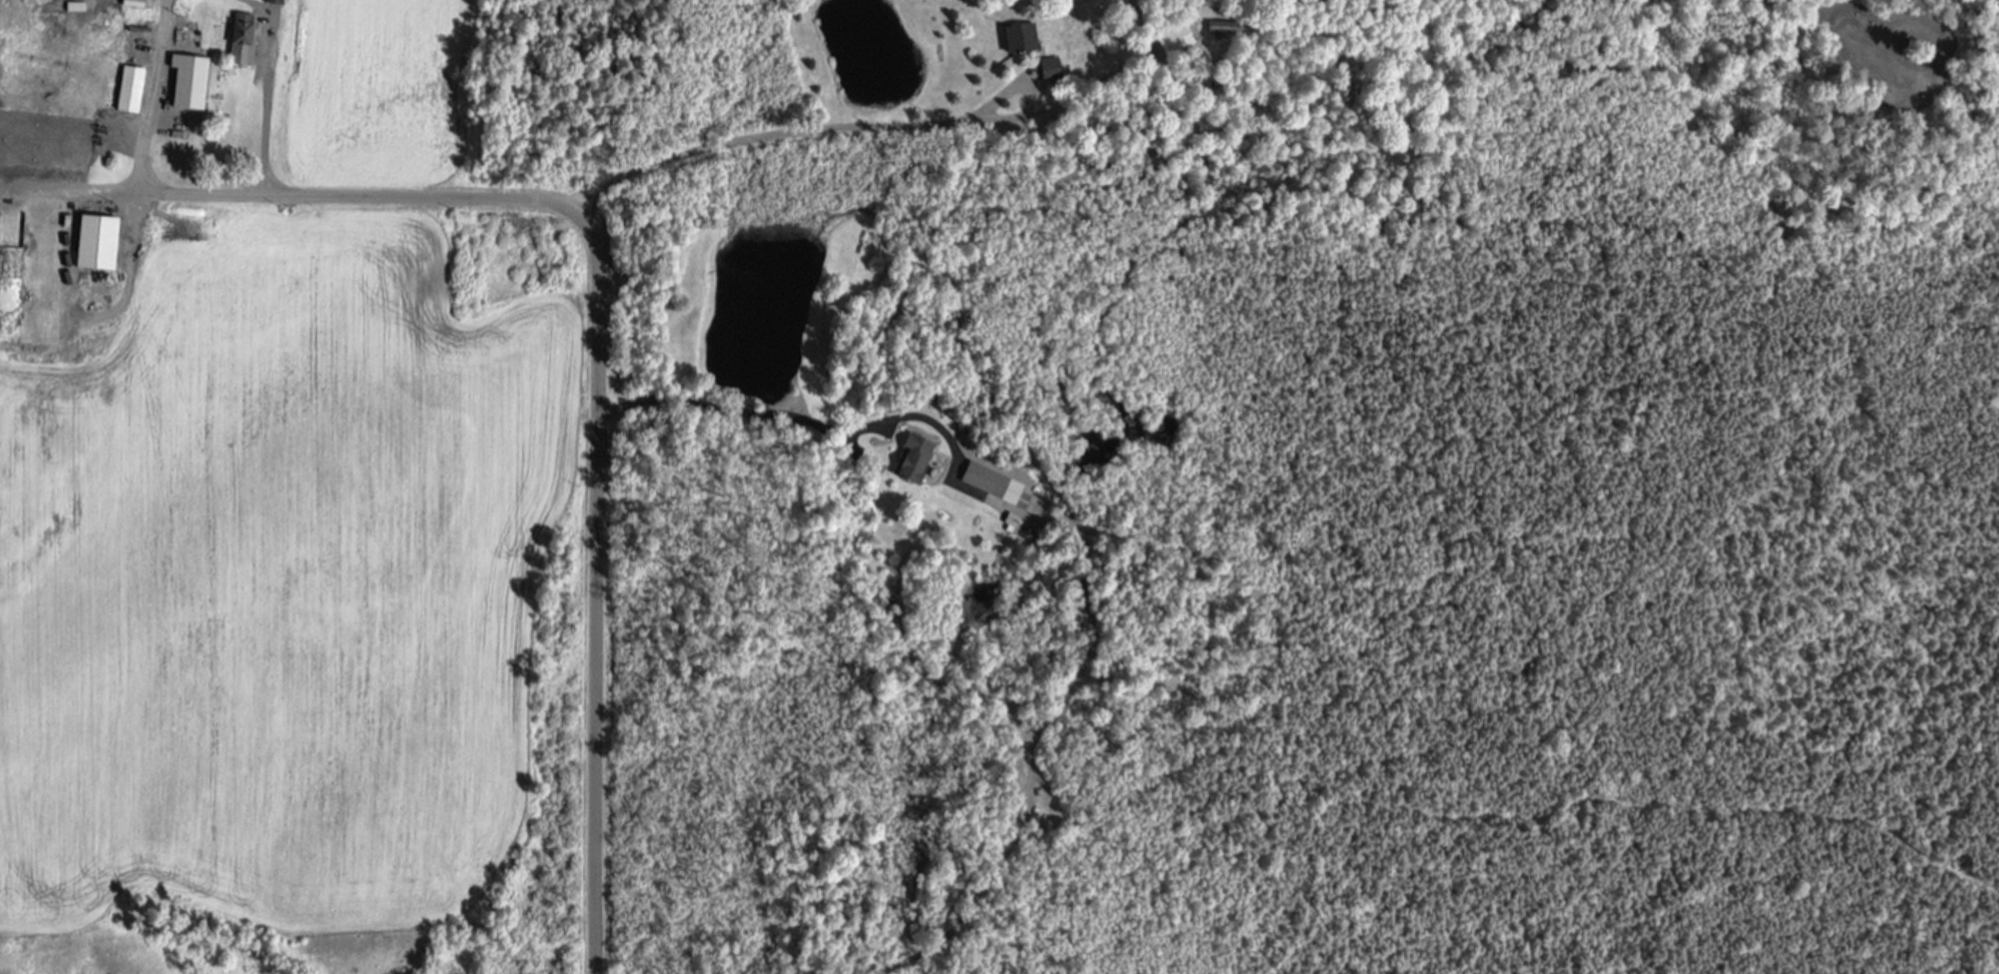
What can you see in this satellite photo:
building: (137, 3)
building: (1225, 27)
building: (1025, 39)
building: (1178, 40)
building: (194, 81)
building: (134, 89)
road: (841, 127)
road: (68, 188)
road: (215, 194)
road: (731, 409)
road: (595, 436)
building: (920, 457)
building: (999, 484)
quarry: (89, 960)

